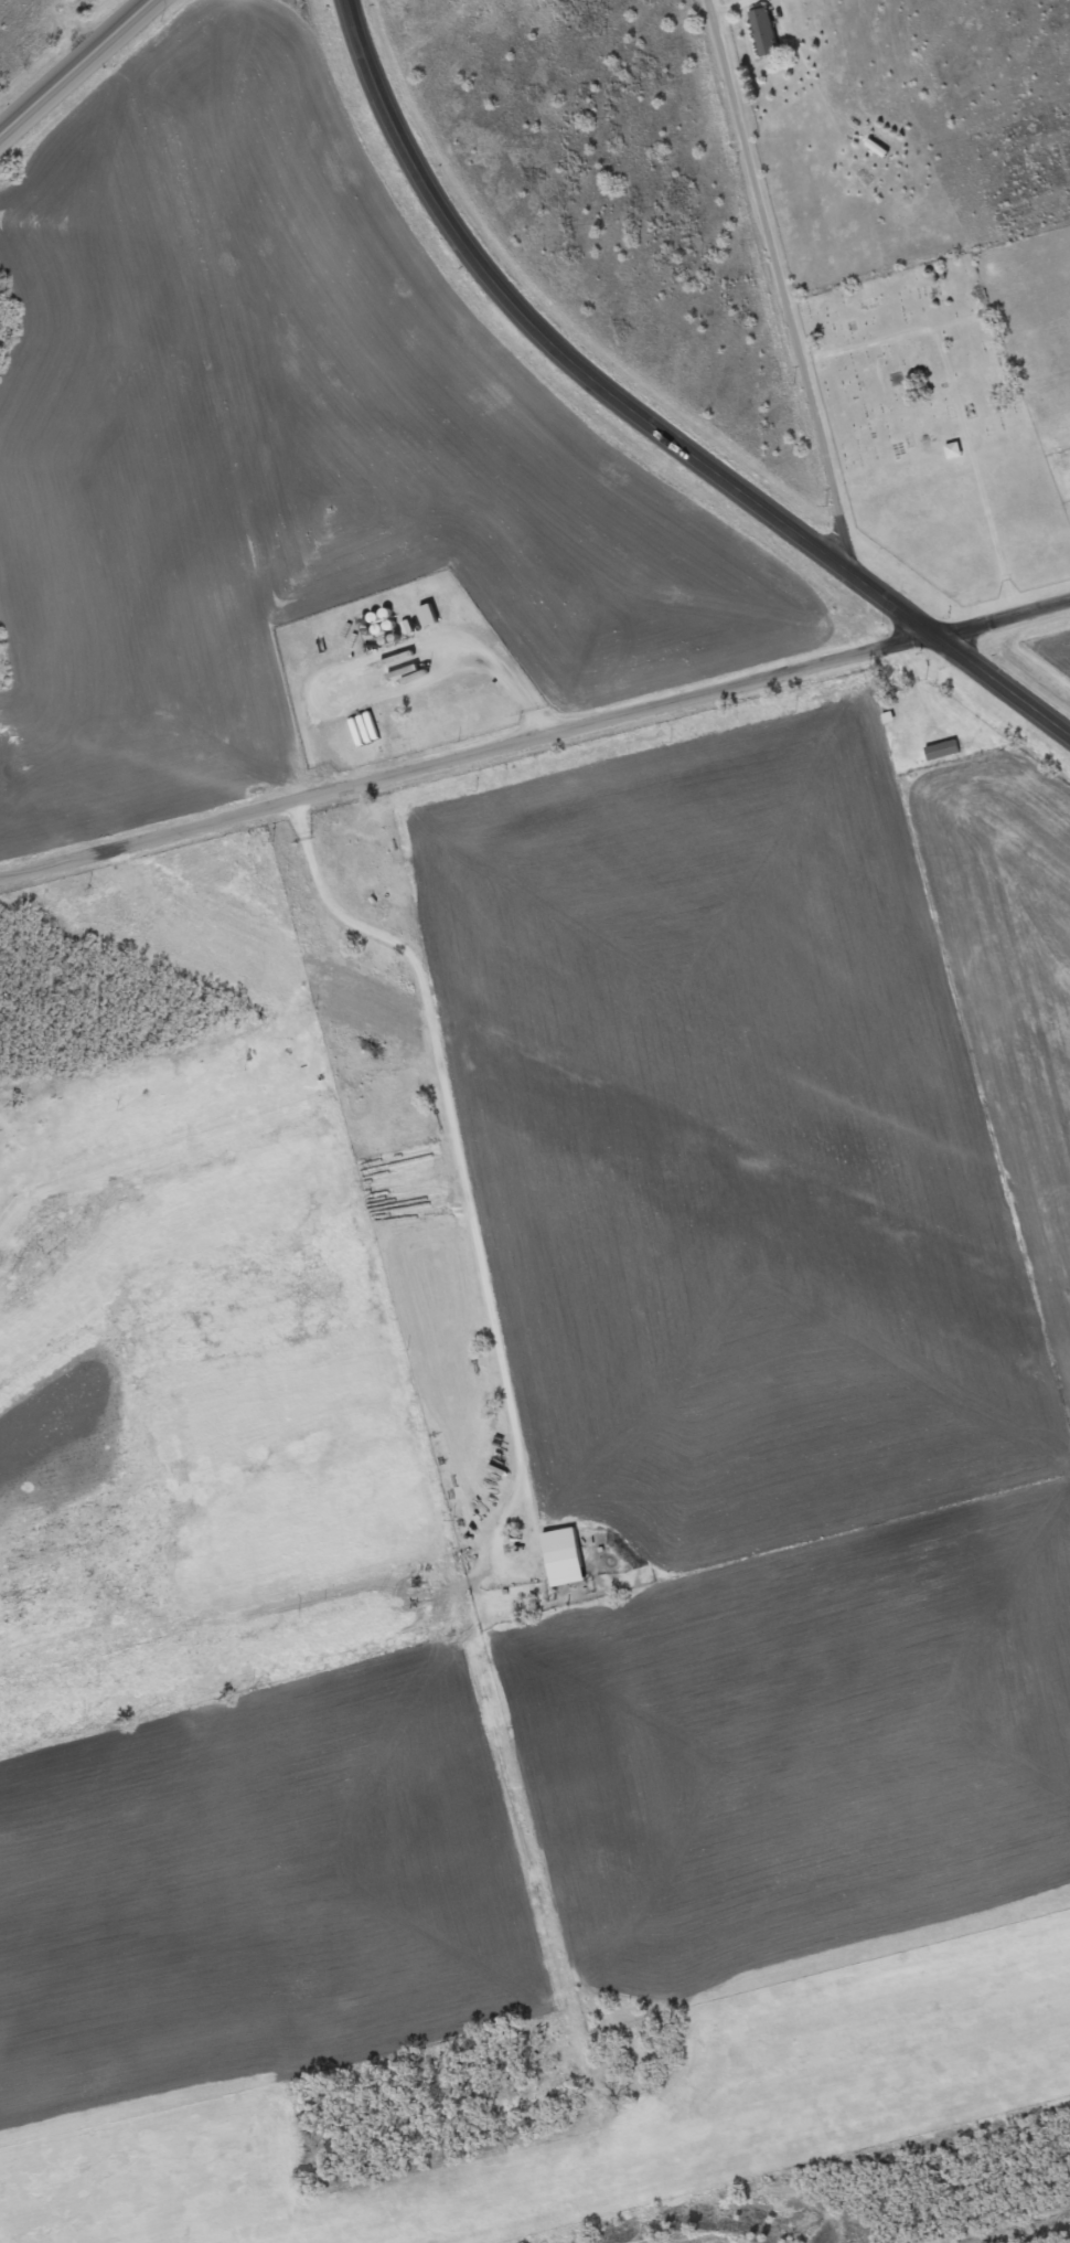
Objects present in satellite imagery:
building: (764, 32)
road: (72, 64)
road: (777, 278)
road: (955, 405)
road: (649, 415)
park: (935, 432)
building: (953, 450)
silo: (386, 613)
building: (428, 615)
silo: (374, 617)
silo: (364, 620)
silo: (389, 624)
building: (407, 627)
silo: (377, 629)
silo: (367, 631)
silo: (395, 637)
silo: (385, 640)
road: (452, 655)
road: (535, 741)
building: (942, 750)
road: (470, 1213)
building: (564, 1556)

